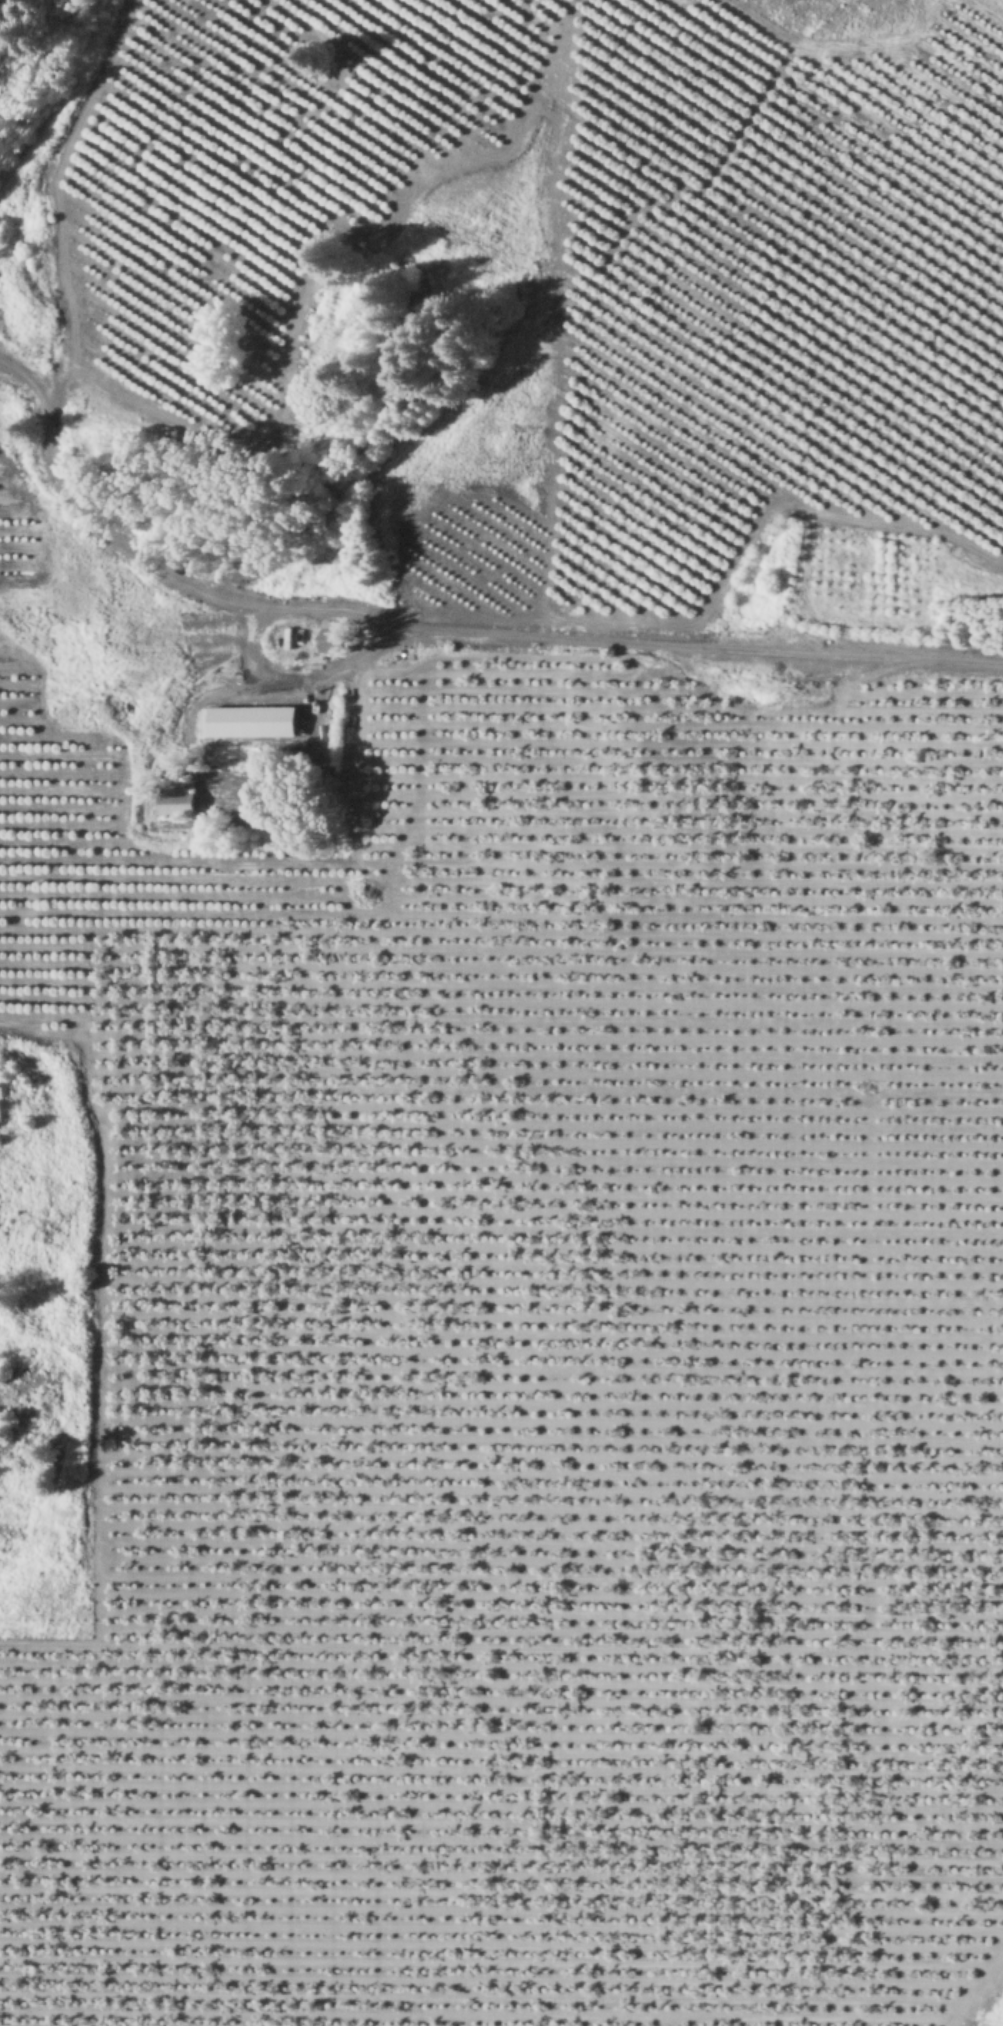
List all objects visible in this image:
crop: (469, 390)
building: (335, 636)
road: (248, 646)
road: (708, 646)
building: (255, 720)
building: (179, 802)
crop: (16, 1569)

